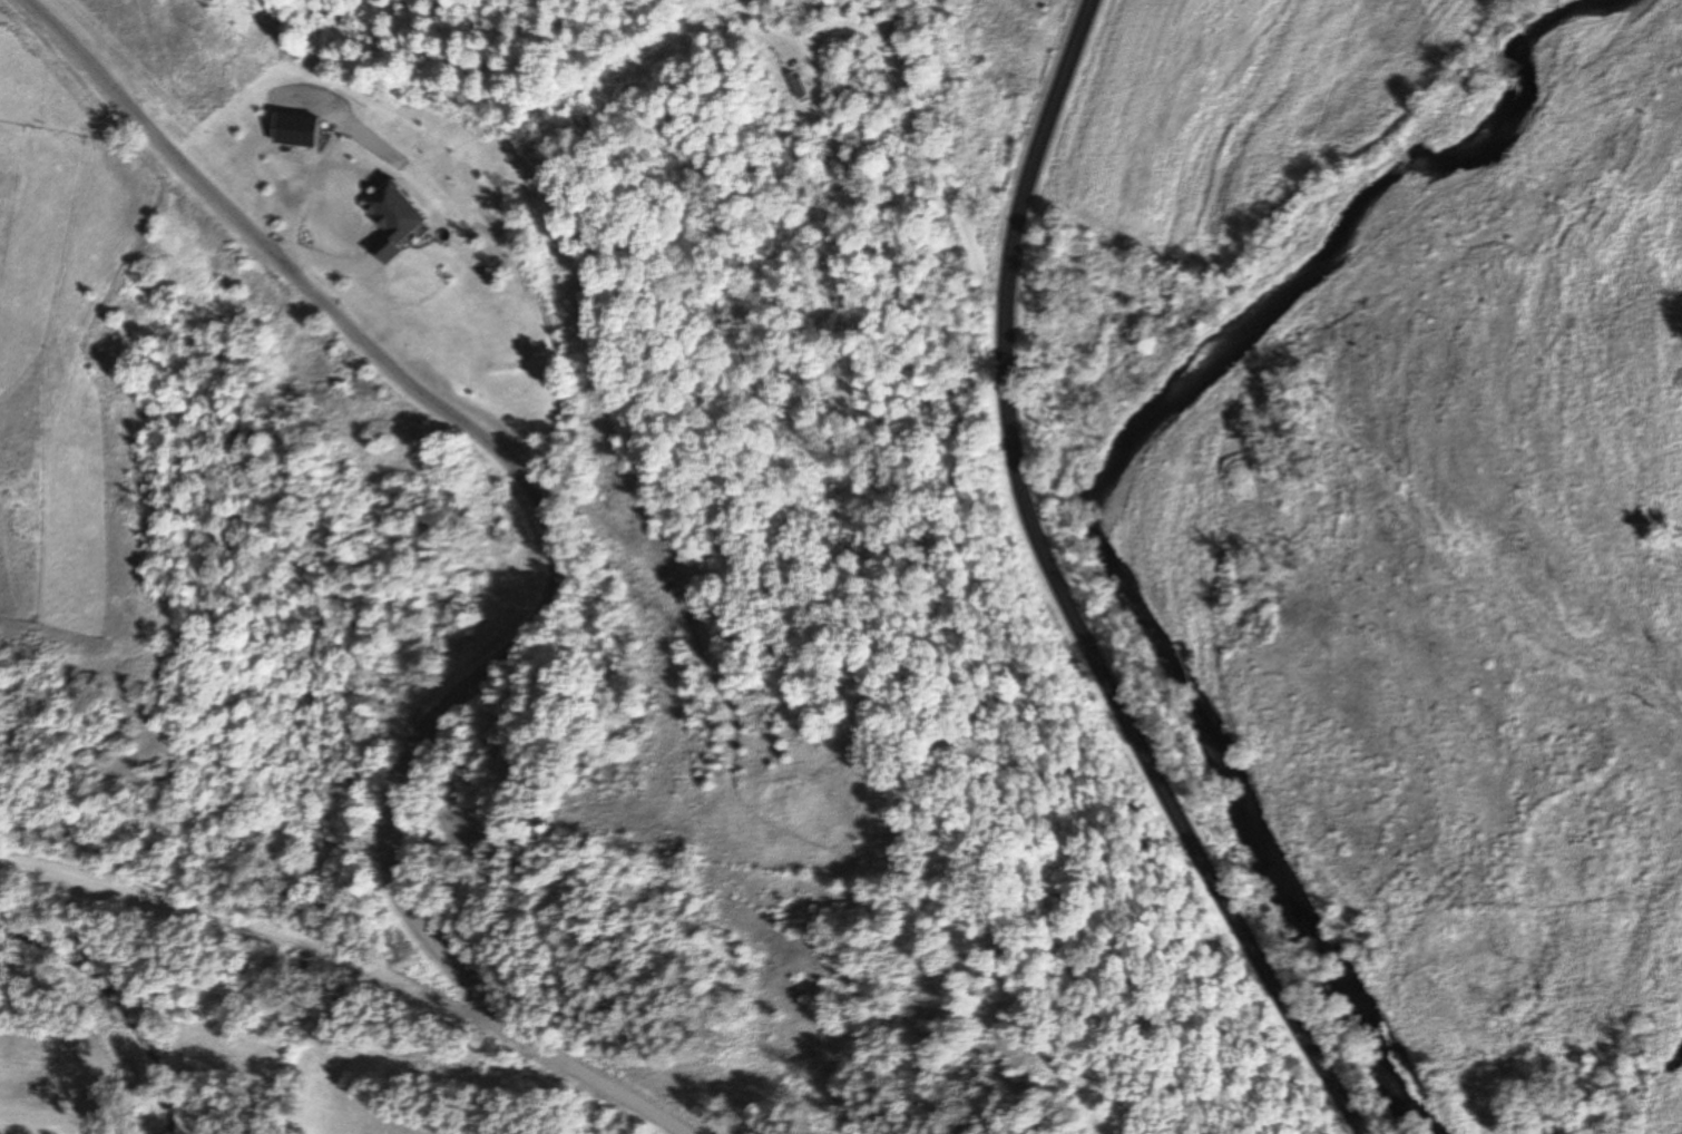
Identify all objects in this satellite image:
building: (793, 86)
building: (389, 218)
river: (1109, 496)
road: (551, 548)
road: (1064, 593)
road: (268, 931)

